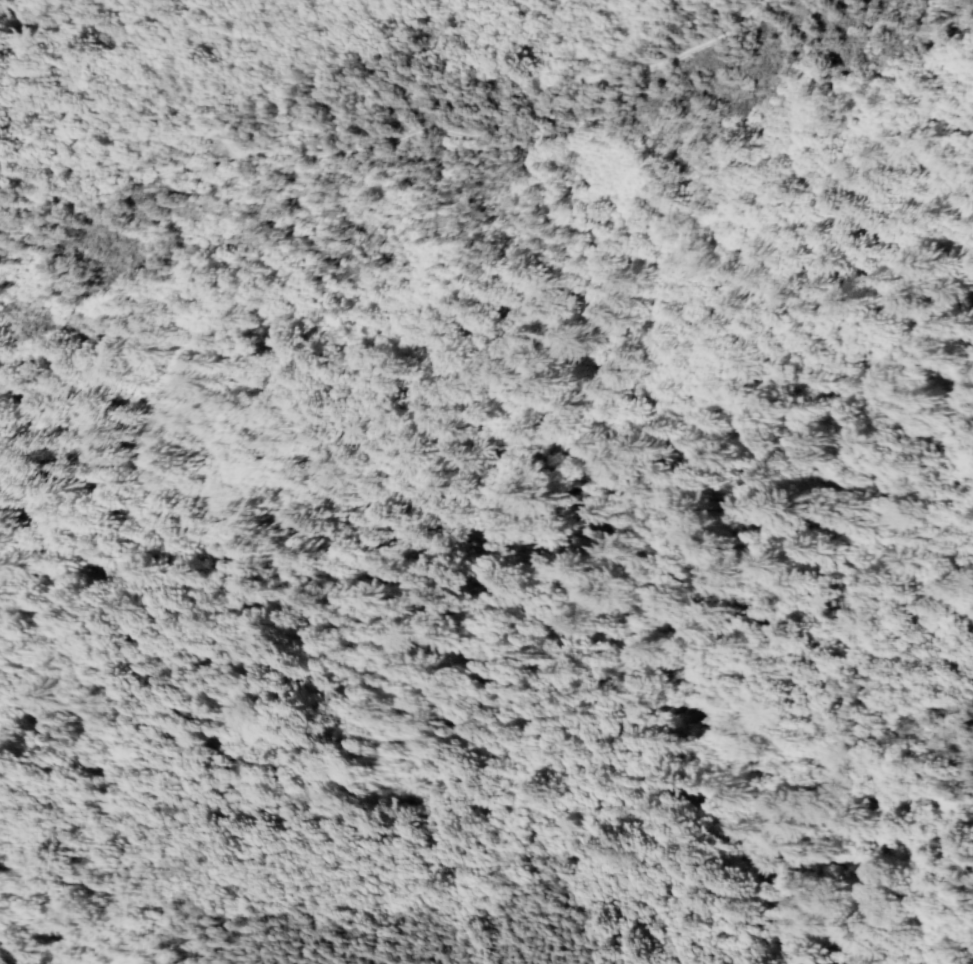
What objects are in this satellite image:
road: (469, 133)
road: (85, 198)
road: (681, 553)

